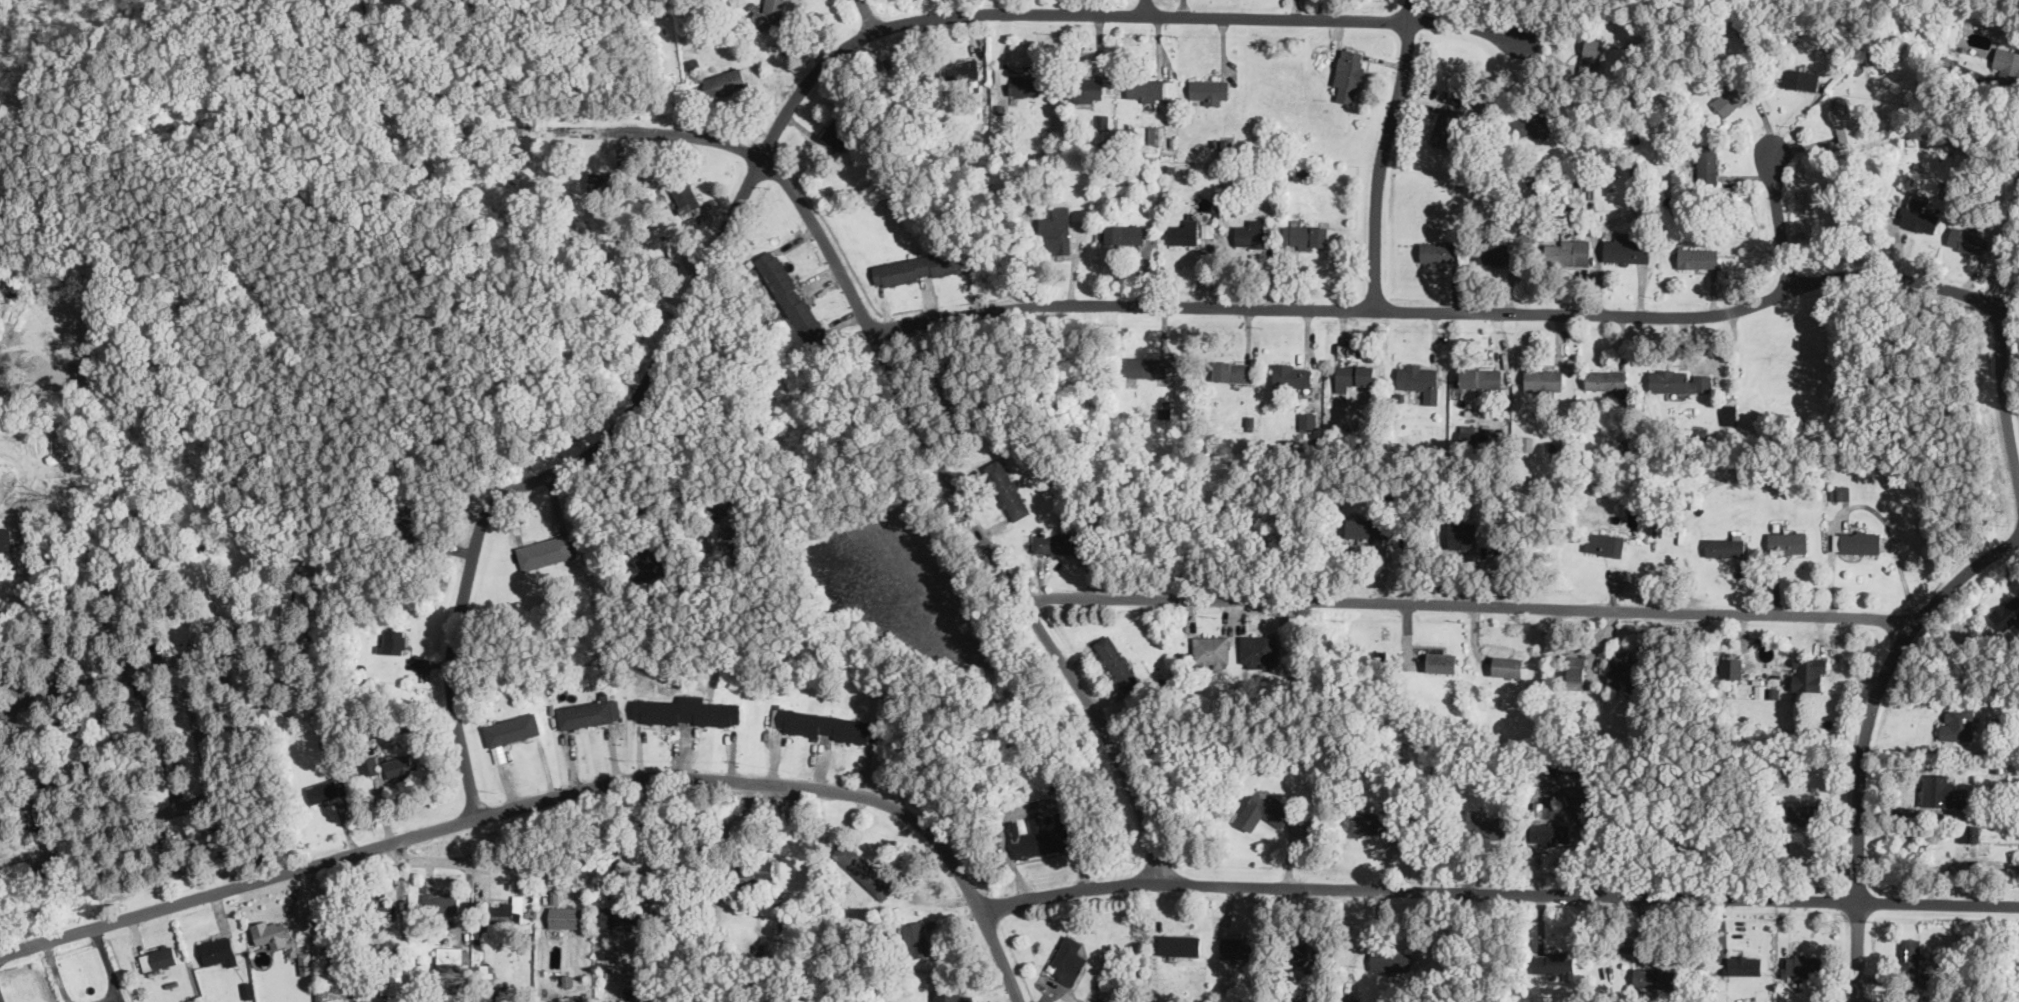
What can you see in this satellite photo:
road: (1145, 7)
road: (867, 15)
building: (769, 16)
building: (1593, 58)
building: (2007, 63)
building: (960, 68)
building: (1349, 74)
building: (1800, 78)
building: (725, 81)
building: (1018, 82)
building: (1088, 88)
building: (1146, 89)
building: (1209, 91)
building: (1730, 96)
building: (1844, 121)
building: (1530, 125)
building: (1448, 126)
building: (839, 132)
building: (1156, 133)
road: (766, 145)
road: (1381, 152)
building: (1707, 161)
building: (605, 182)
building: (686, 197)
road: (1777, 214)
building: (1919, 217)
building: (1056, 224)
building: (1122, 233)
building: (1183, 233)
building: (1251, 233)
building: (1306, 236)
building: (1967, 240)
building: (1627, 250)
building: (1439, 251)
building: (1496, 251)
building: (1568, 251)
building: (1698, 257)
building: (920, 266)
building: (791, 296)
road: (1442, 309)
building: (1148, 366)
building: (1232, 370)
building: (1353, 374)
road: (895, 375)
building: (1292, 375)
building: (1480, 376)
building: (1543, 379)
building: (1606, 379)
building: (1420, 380)
building: (1681, 380)
road: (2001, 397)
building: (1307, 420)
building: (1468, 430)
road: (628, 487)
building: (1007, 488)
building: (1840, 491)
building: (411, 521)
building: (1367, 527)
building: (1462, 534)
building: (5, 538)
building: (734, 538)
building: (1788, 541)
building: (1858, 541)
building: (1060, 542)
building: (1605, 542)
building: (1726, 545)
building: (546, 551)
building: (653, 562)
road: (1469, 605)
building: (2007, 614)
building: (1625, 632)
building: (393, 641)
building: (1258, 650)
building: (1211, 651)
building: (1442, 661)
road: (161, 662)
building: (1117, 662)
building: (1507, 665)
building: (1732, 666)
building: (1576, 667)
building: (1808, 672)
building: (1624, 674)
building: (1762, 690)
building: (1774, 692)
building: (150, 708)
building: (686, 710)
building: (586, 713)
building: (1958, 723)
building: (827, 725)
building: (512, 728)
road: (1865, 739)
building: (171, 763)
building: (370, 766)
building: (402, 766)
building: (328, 788)
building: (1938, 790)
road: (557, 794)
road: (173, 808)
building: (45, 809)
building: (1263, 811)
building: (1805, 813)
building: (1362, 823)
building: (1484, 825)
building: (3, 826)
building: (1969, 832)
building: (211, 834)
building: (1550, 834)
building: (1042, 836)
building: (175, 856)
road: (558, 863)
building: (756, 869)
building: (864, 870)
road: (1497, 891)
building: (441, 902)
building: (504, 913)
building: (565, 916)
building: (620, 917)
building: (271, 930)
building: (915, 939)
building: (1179, 944)
building: (1241, 947)
building: (219, 950)
building: (1910, 953)
building: (454, 954)
building: (1309, 954)
building: (158, 957)
building: (1069, 960)
building: (1391, 960)
building: (305, 962)
building: (1555, 962)
road: (109, 964)
building: (1745, 964)
building: (1801, 964)
road: (56, 971)
building: (1655, 976)
building: (396, 977)
building: (449, 977)
building: (950, 992)
building: (1913, 1001)

